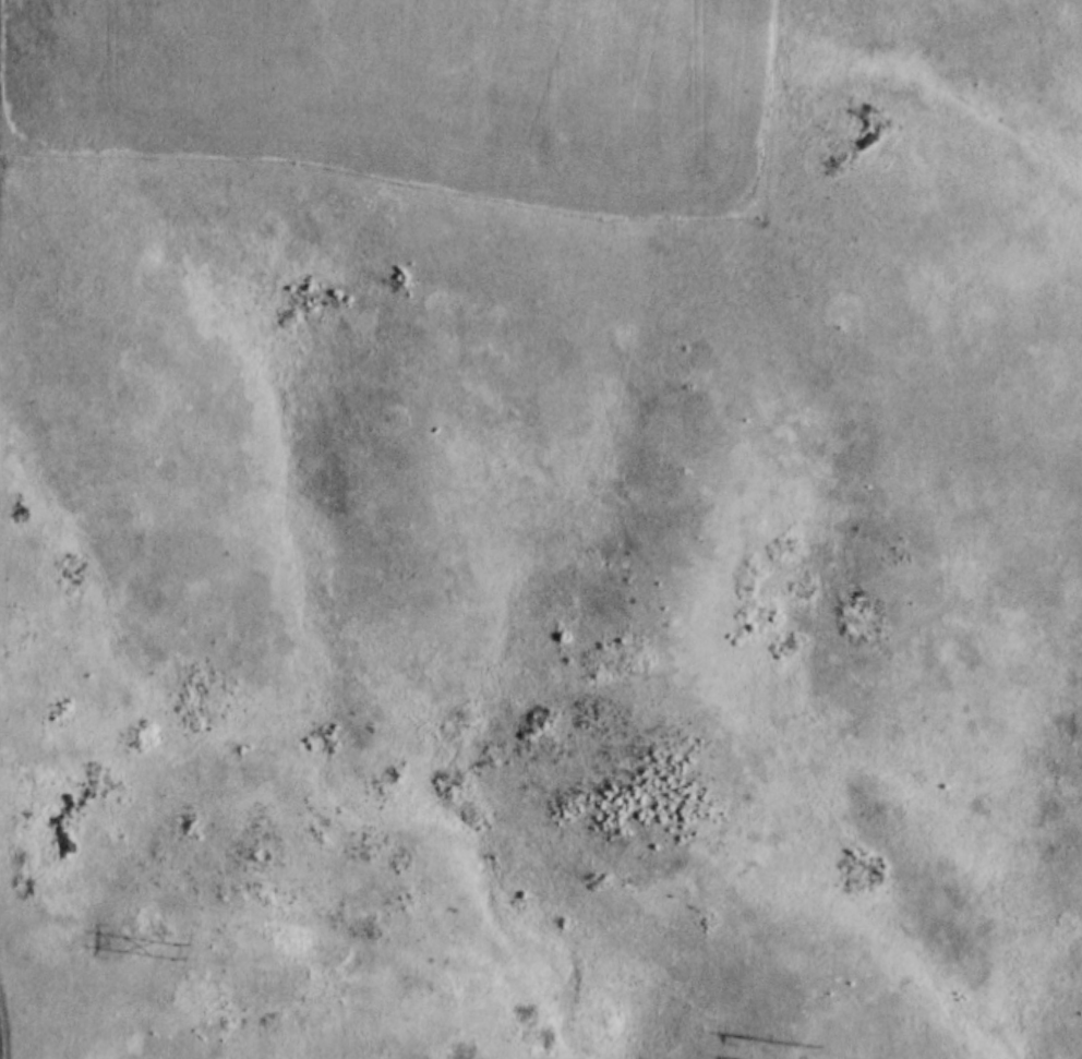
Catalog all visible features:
power tower: (173, 952)

